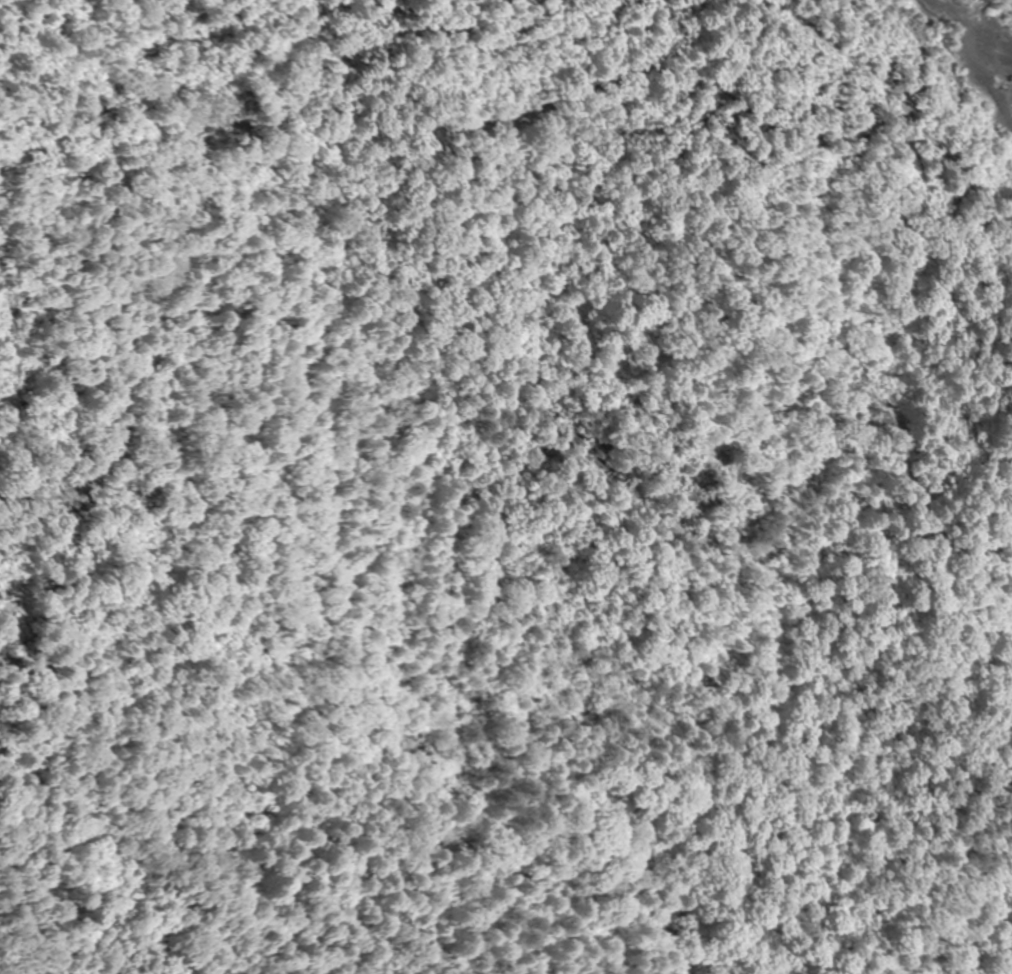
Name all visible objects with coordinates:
road: (973, 34)

